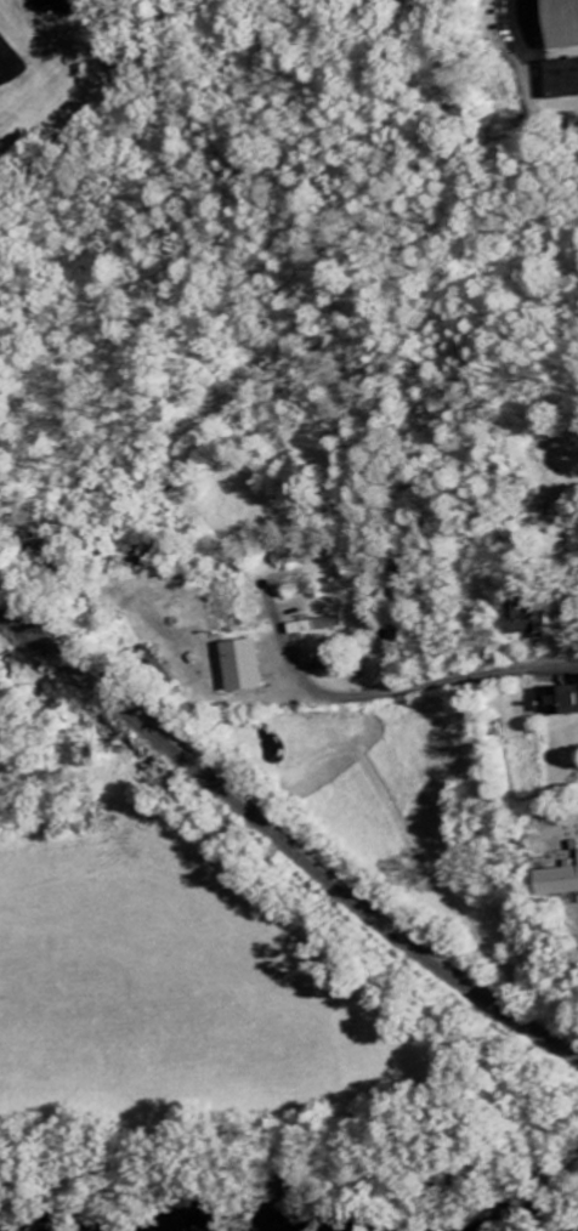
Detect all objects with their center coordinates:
building: (69, 6)
building: (561, 24)
road: (535, 69)
building: (567, 80)
building: (294, 558)
building: (535, 624)
building: (317, 626)
building: (251, 668)
road: (391, 692)
building: (563, 703)
railway: (280, 834)
building: (565, 884)

